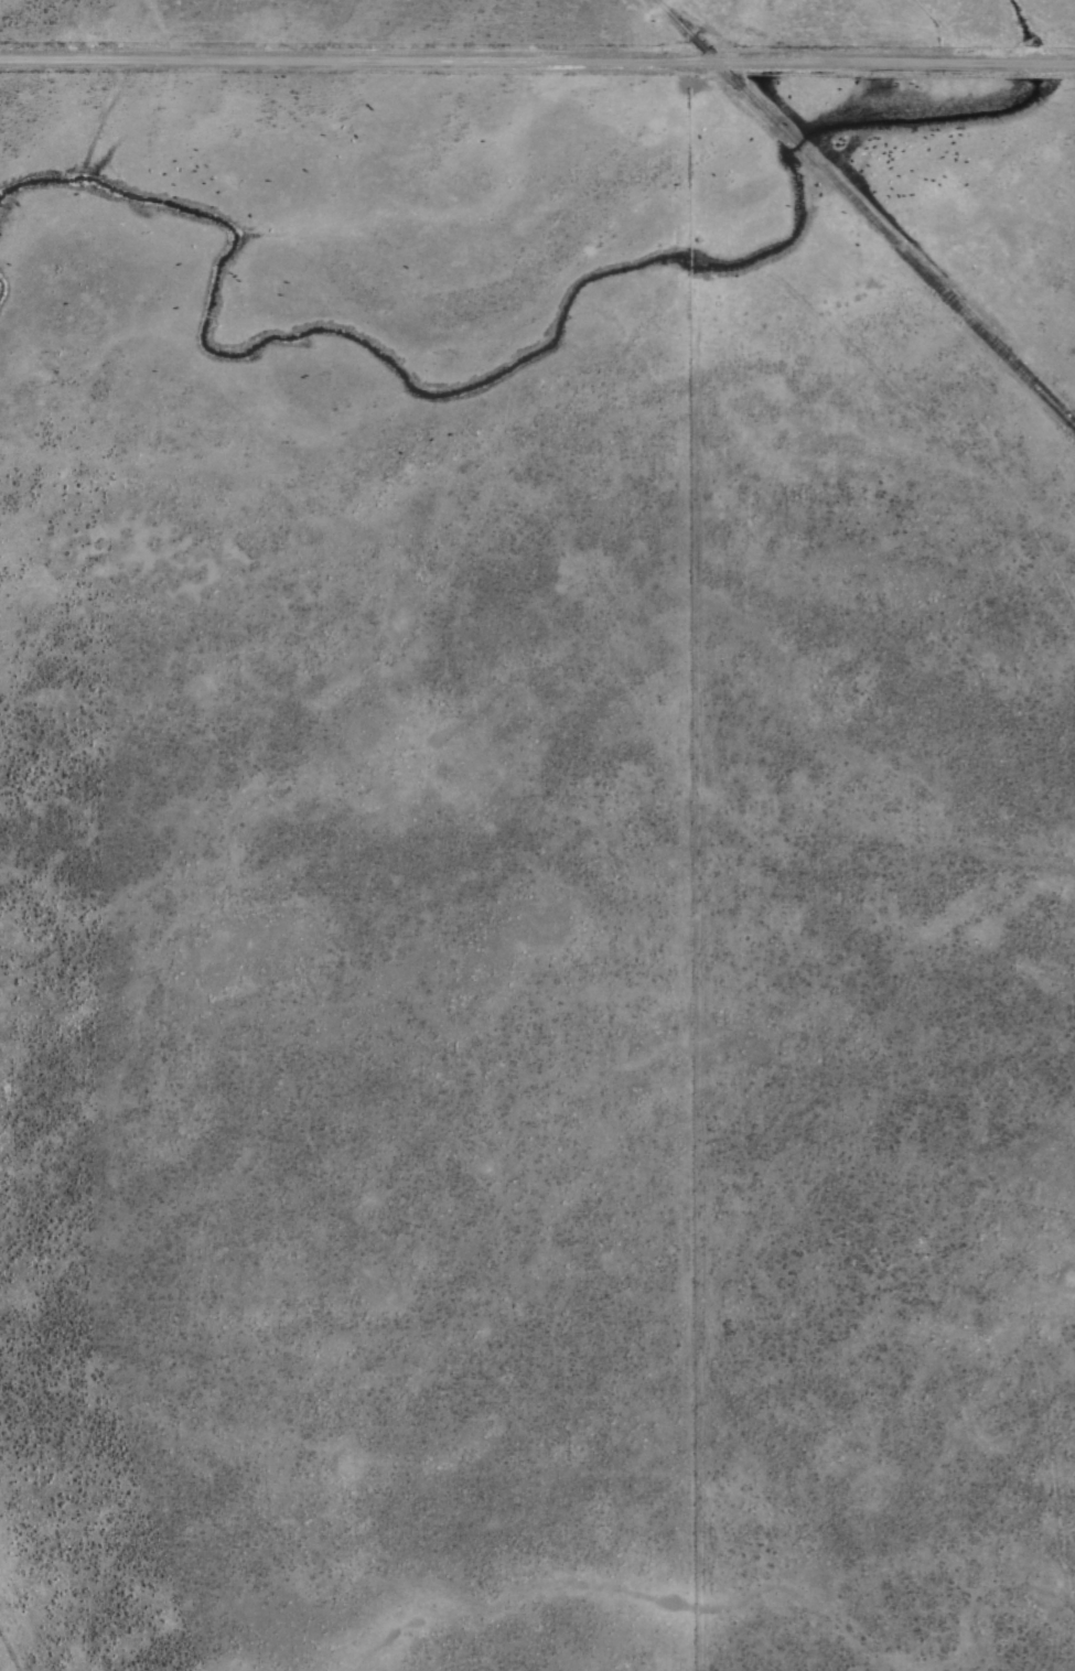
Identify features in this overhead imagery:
road: (537, 57)
railway: (866, 213)
crop: (537, 835)

